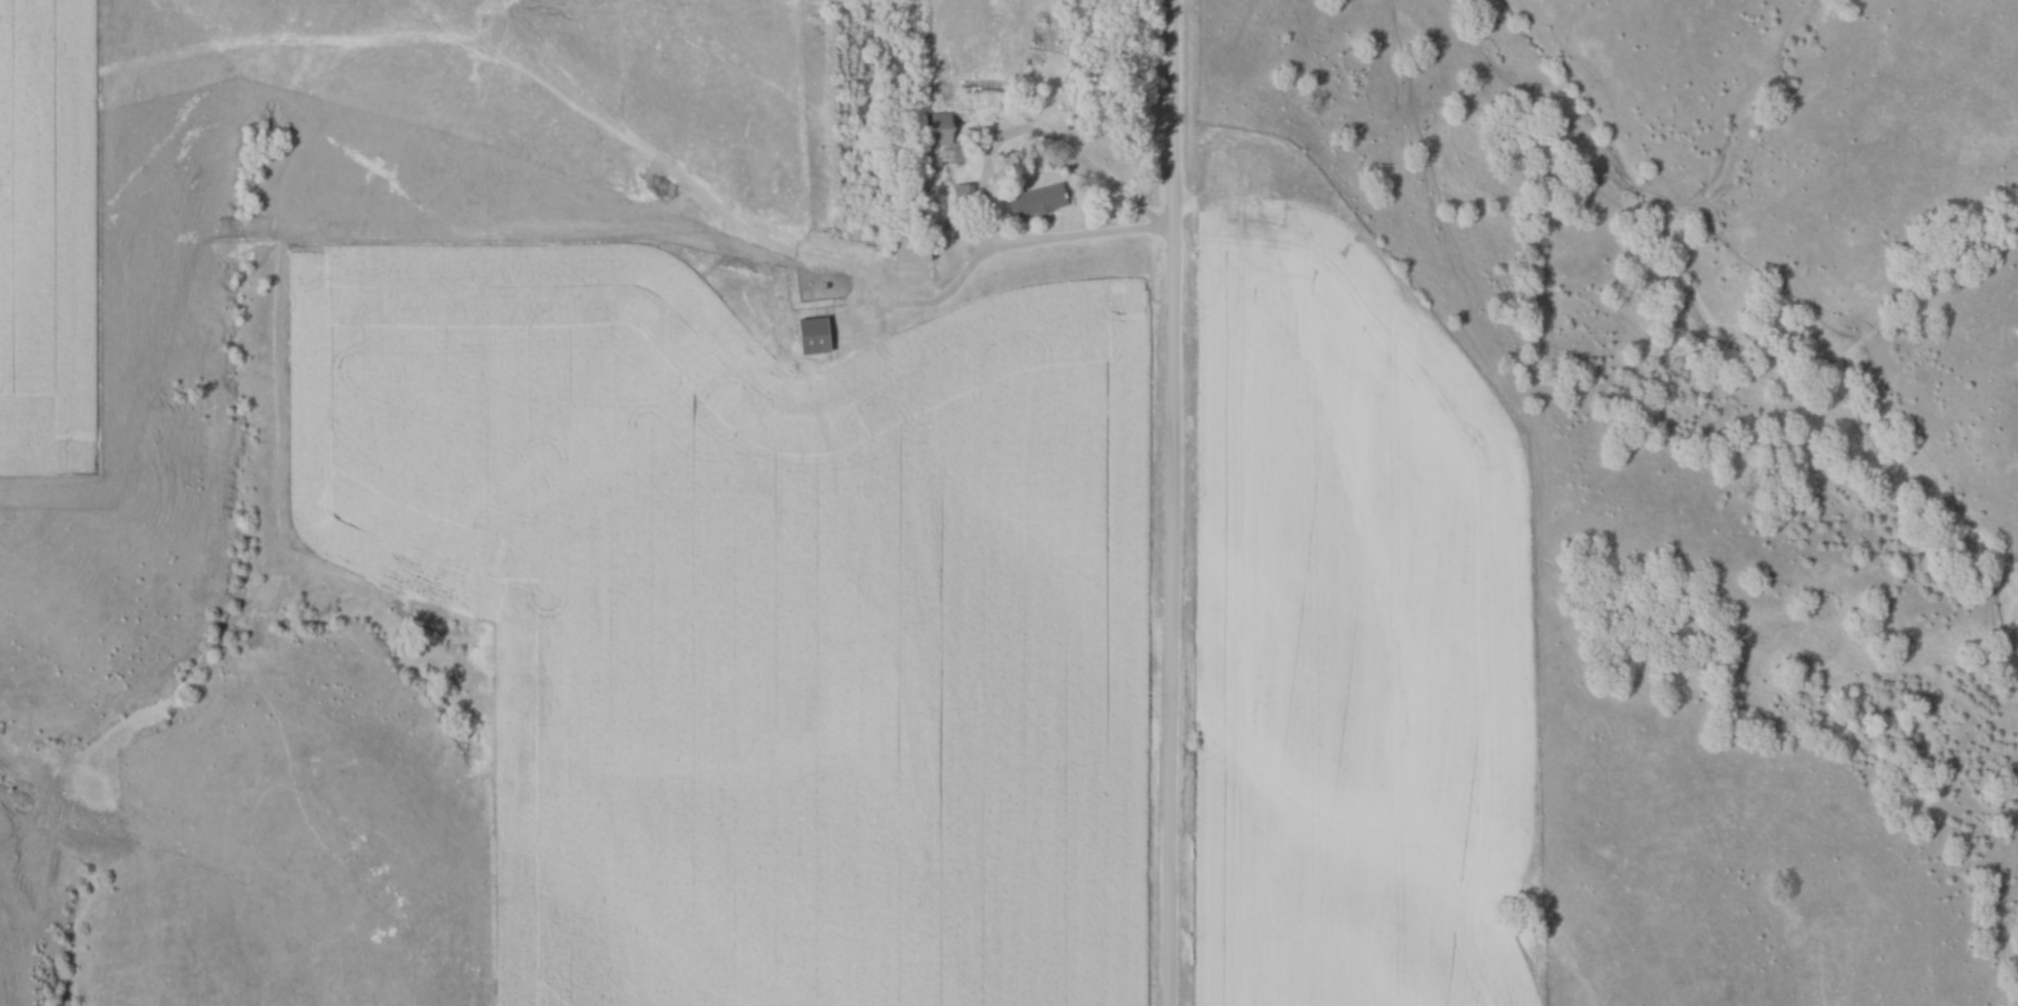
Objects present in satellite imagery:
building: (965, 14)
building: (963, 81)
building: (944, 127)
building: (1039, 200)
road: (1171, 233)
road: (1046, 244)
building: (817, 335)
road: (1174, 503)

